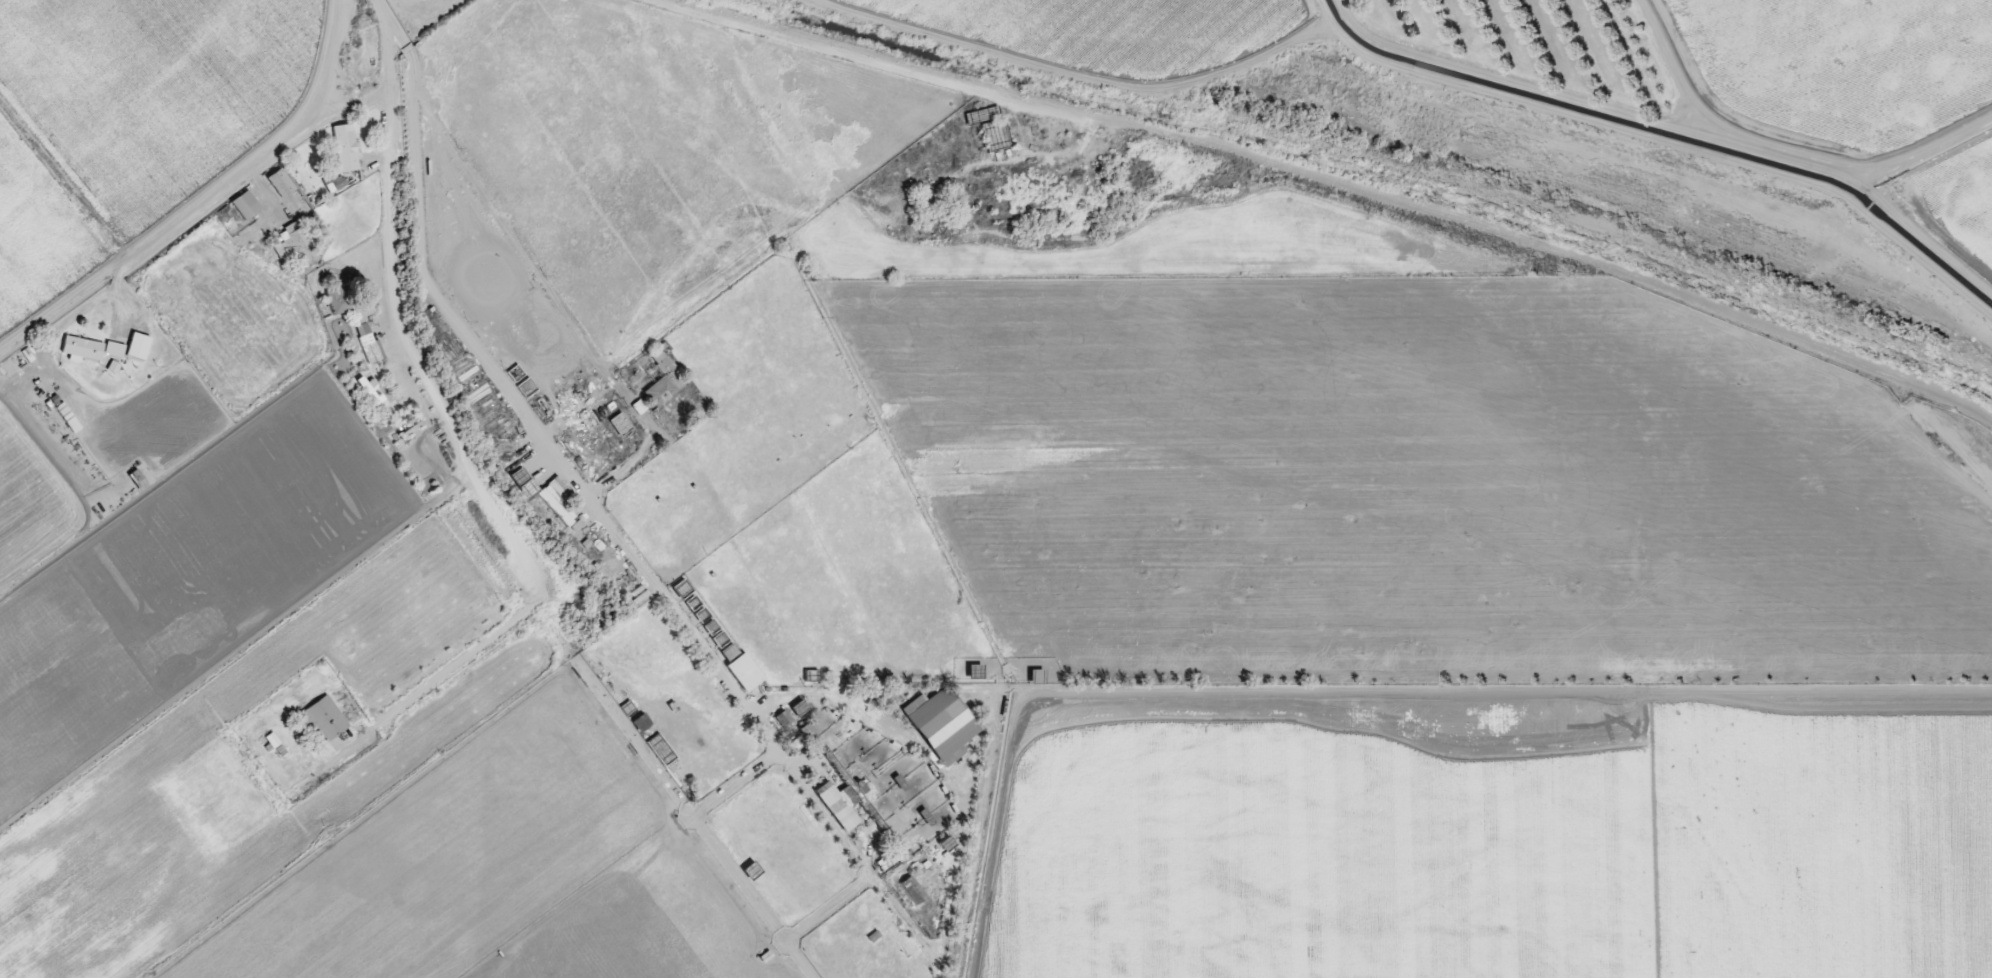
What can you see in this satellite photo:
road: (854, 59)
building: (344, 148)
road: (262, 161)
building: (280, 184)
building: (334, 185)
building: (244, 206)
road: (415, 225)
road: (510, 233)
building: (295, 244)
building: (338, 301)
building: (366, 336)
building: (137, 347)
building: (81, 349)
building: (658, 360)
building: (659, 391)
building: (369, 392)
building: (638, 408)
building: (70, 422)
building: (619, 424)
building: (518, 477)
building: (557, 502)
building: (743, 673)
road: (840, 695)
building: (782, 720)
building: (322, 721)
building: (640, 724)
building: (940, 725)
building: (267, 743)
building: (837, 805)
building: (912, 891)

